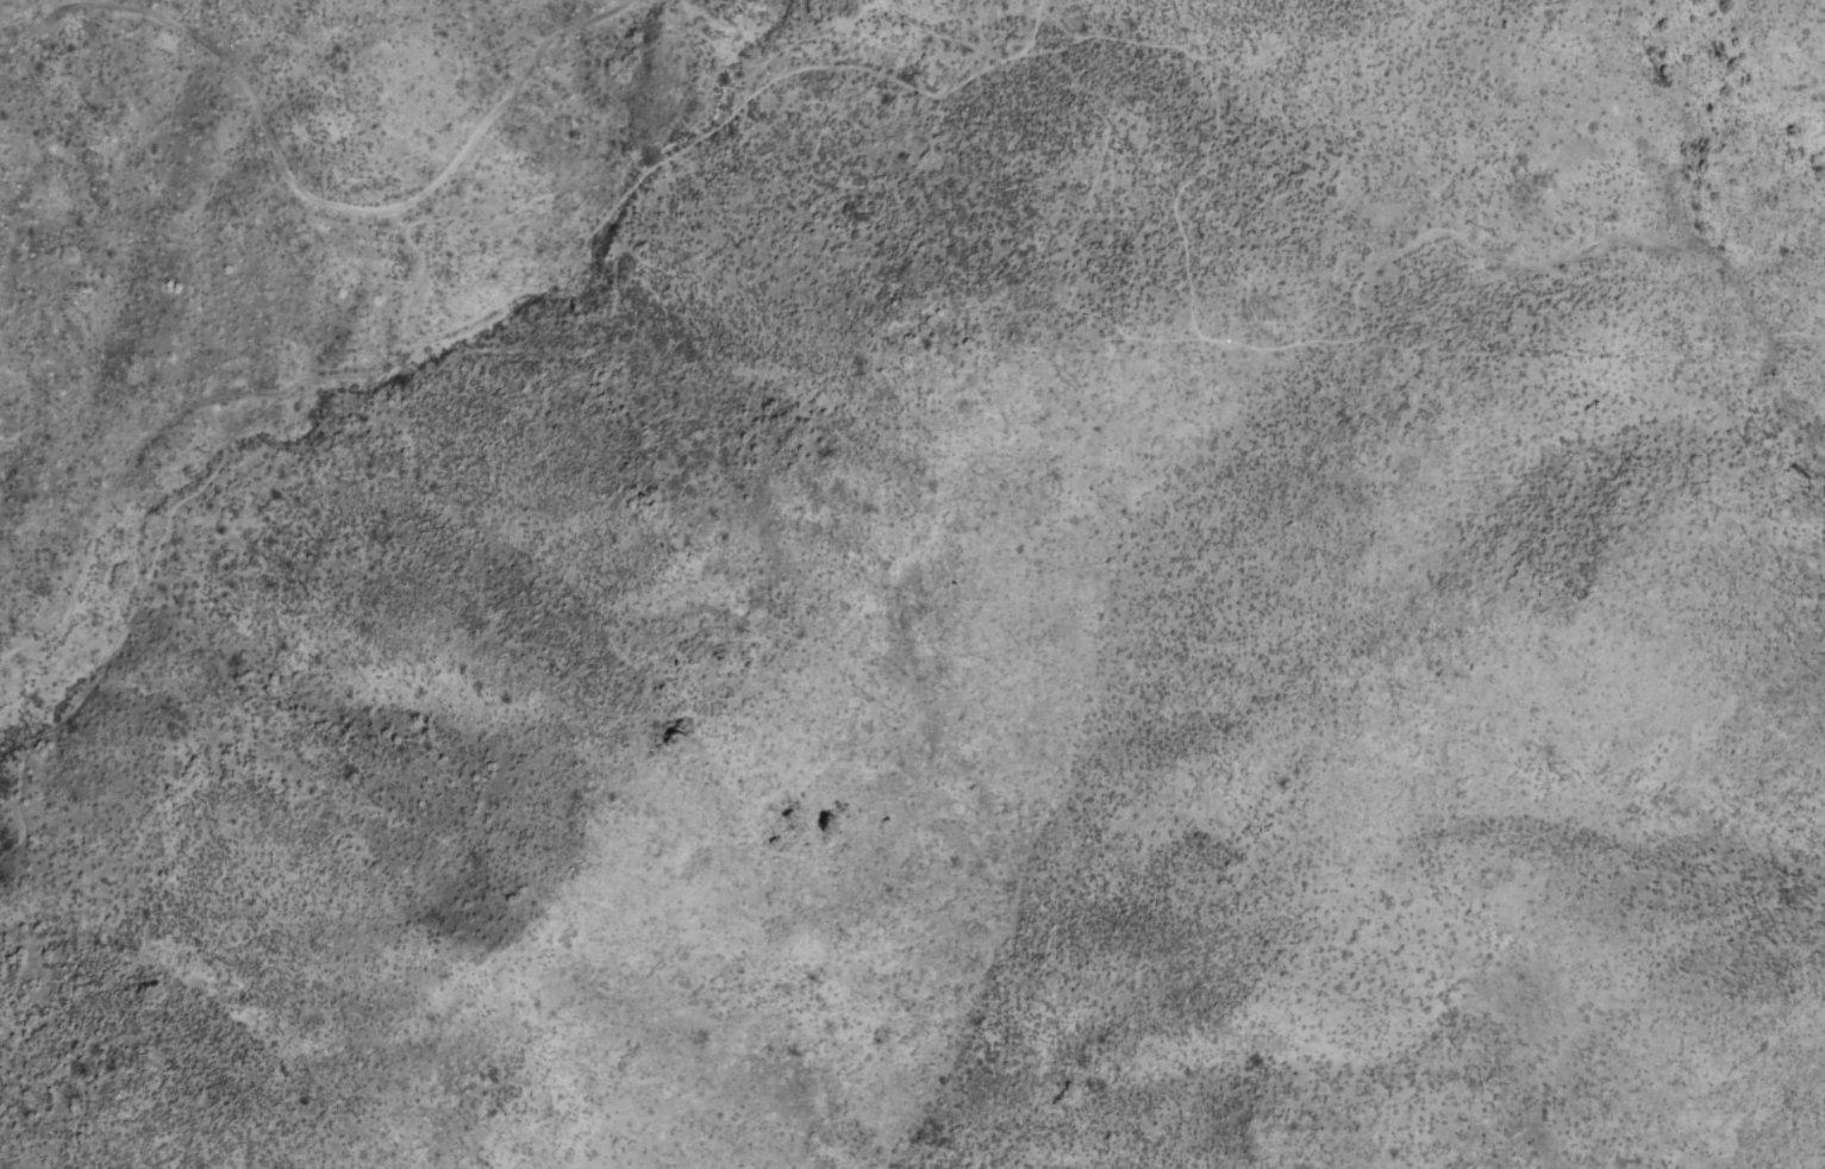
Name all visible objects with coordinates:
road: (305, 199)
road: (405, 348)

